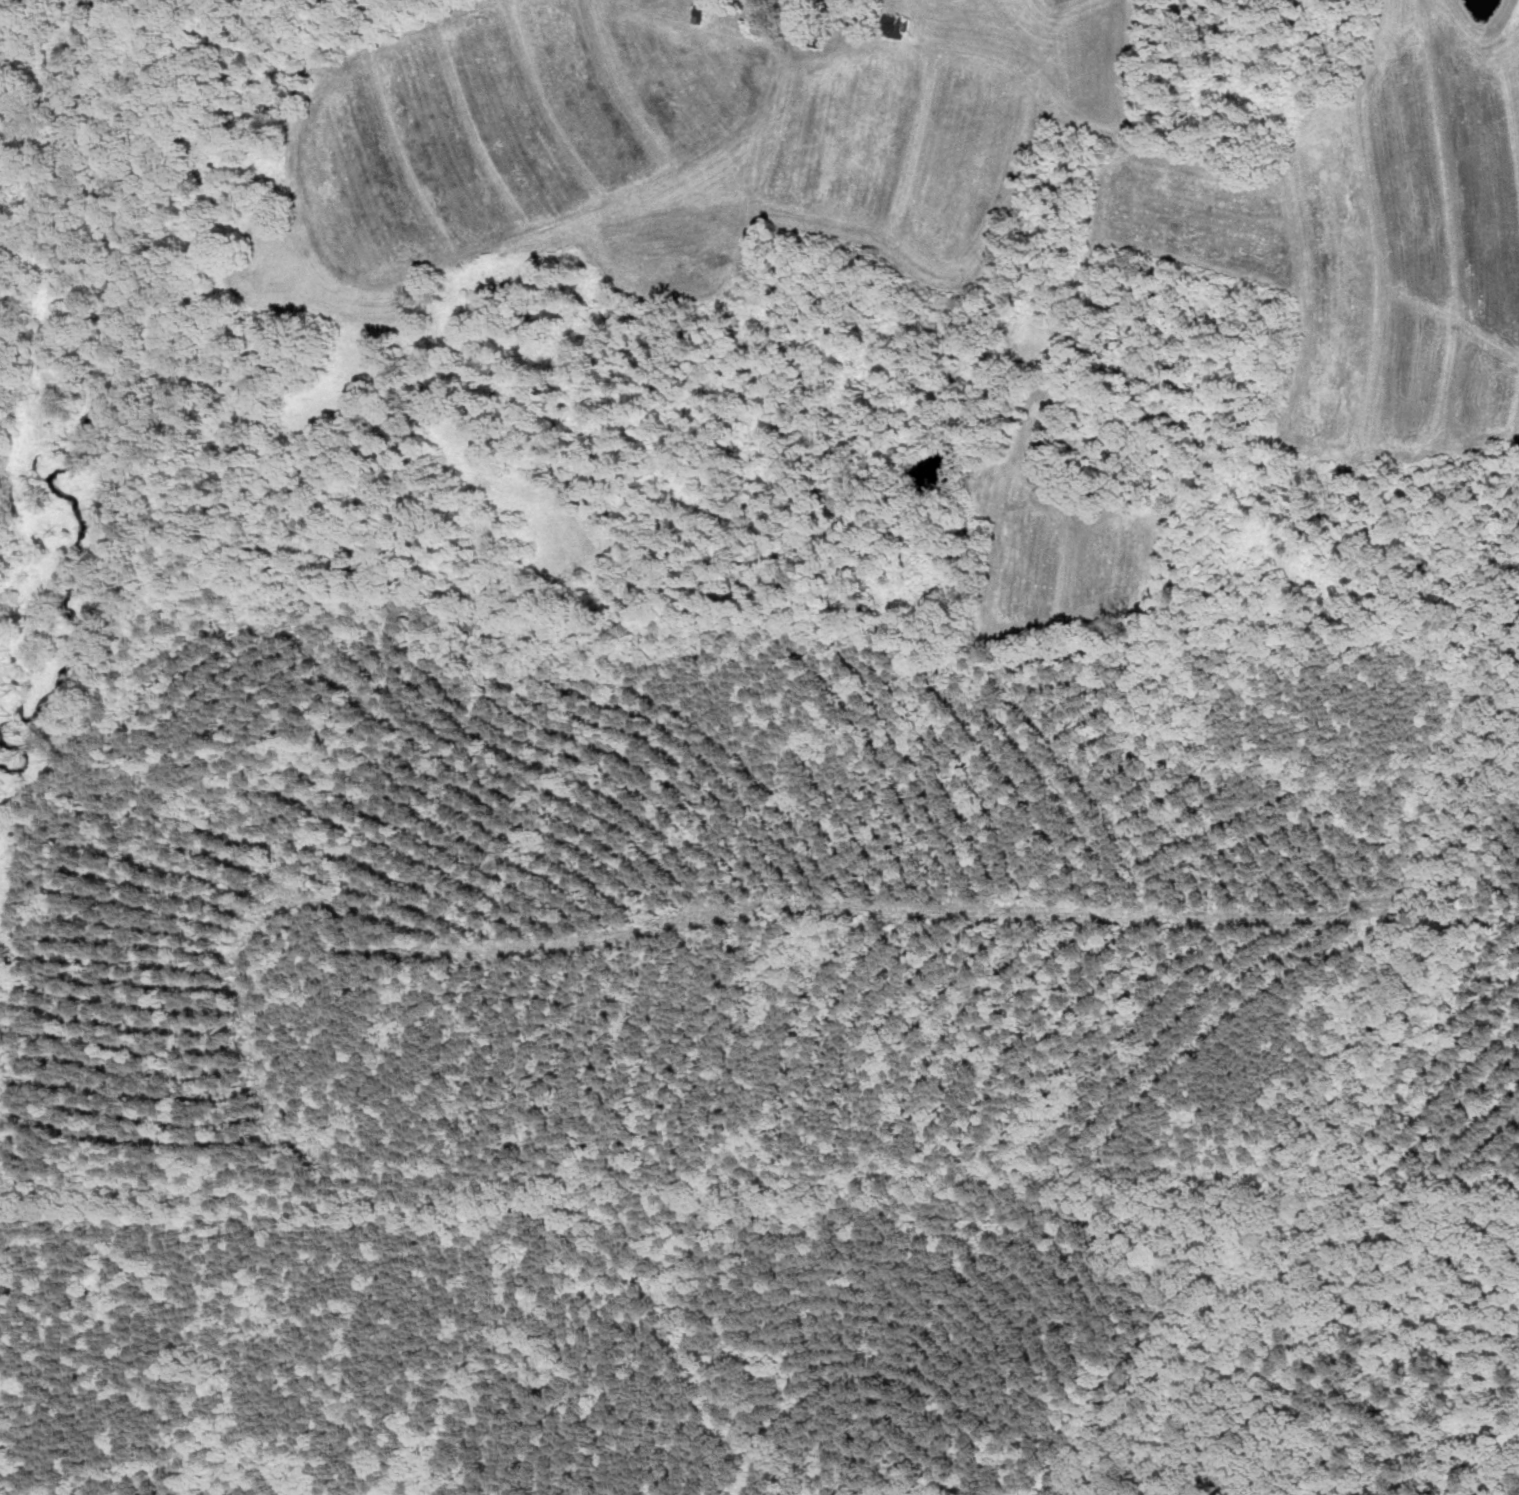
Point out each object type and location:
building: (758, 24)
building: (892, 29)

